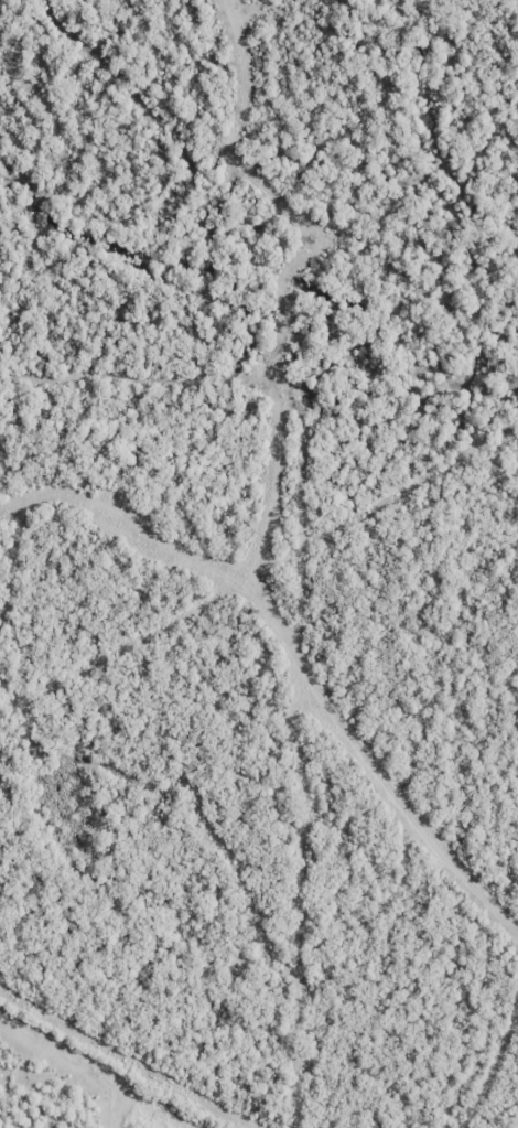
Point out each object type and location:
road: (117, 1066)

